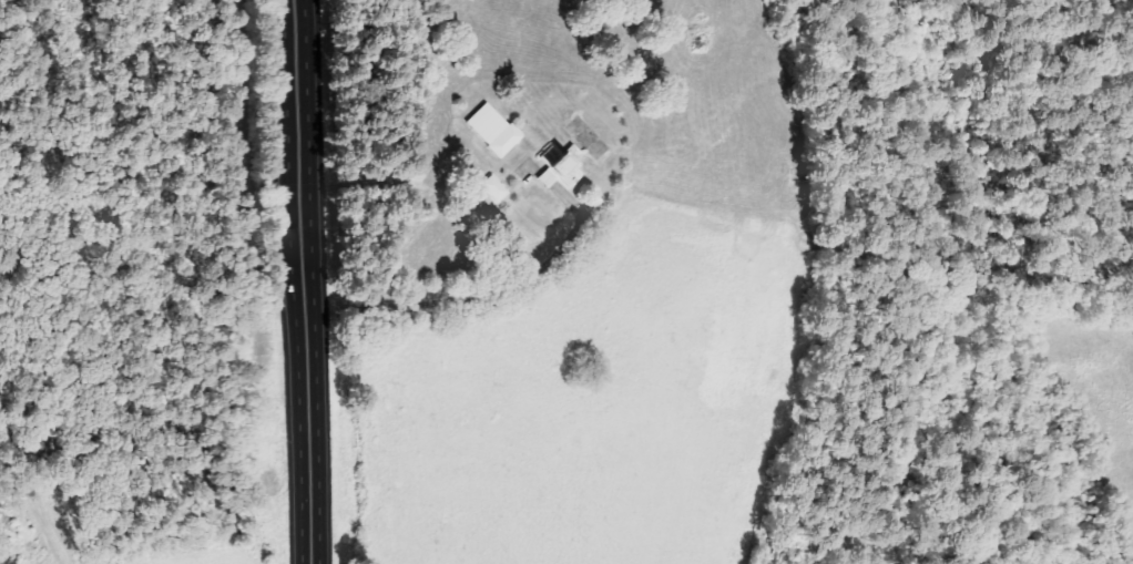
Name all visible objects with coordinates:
building: (498, 130)
road: (306, 281)

